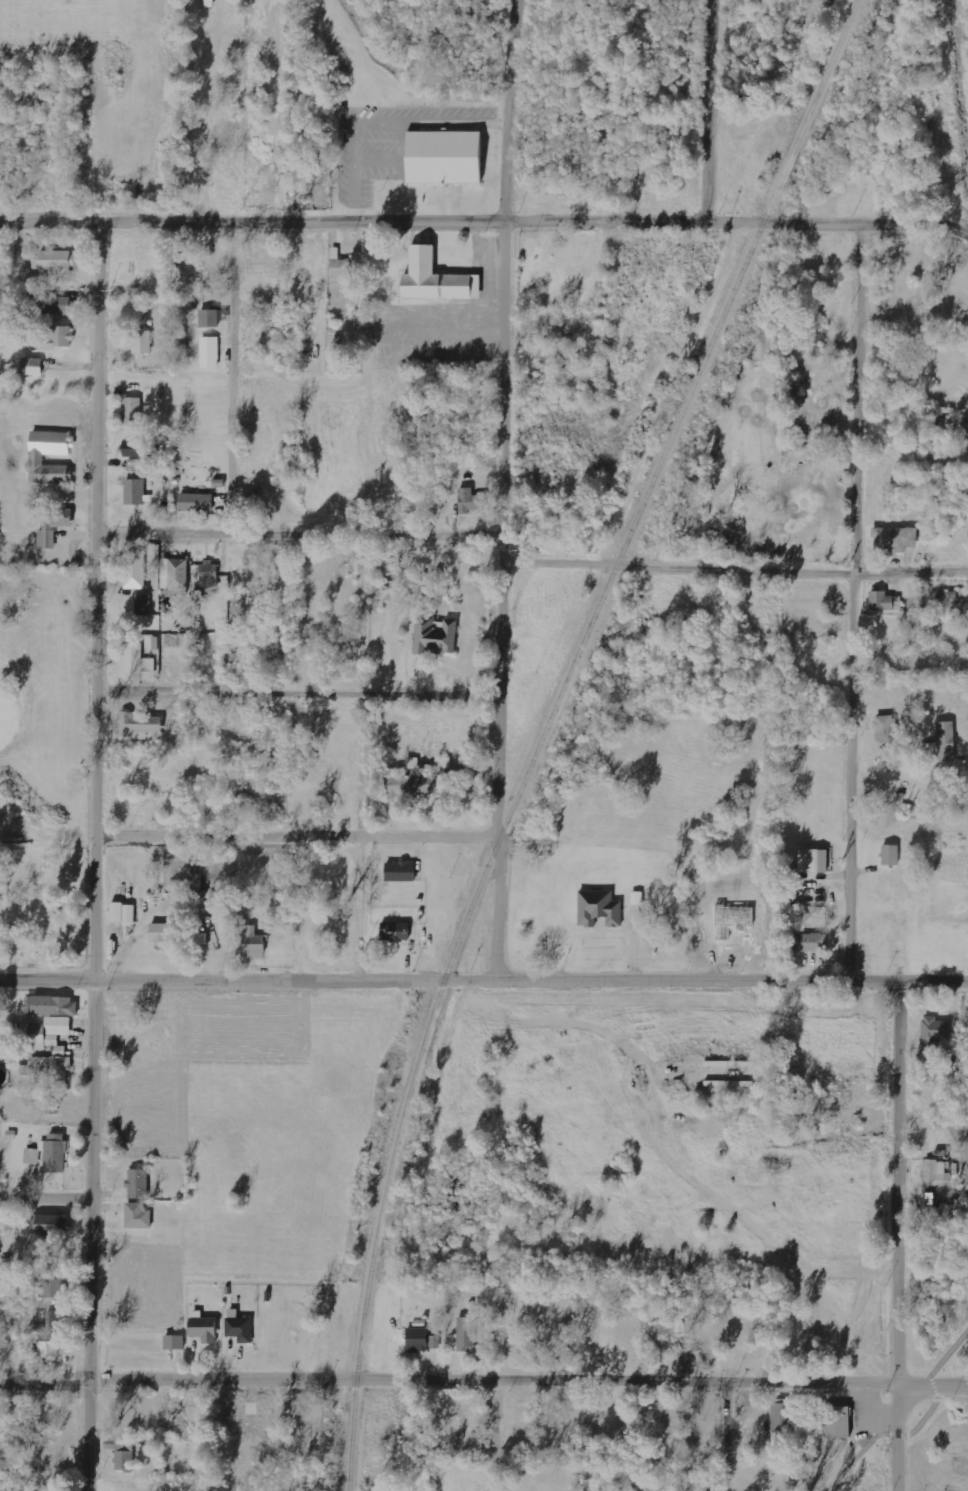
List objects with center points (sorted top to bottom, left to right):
road: (706, 111)
building: (442, 157)
road: (484, 215)
building: (257, 259)
building: (55, 262)
building: (206, 264)
building: (345, 264)
building: (435, 279)
building: (57, 304)
building: (209, 318)
building: (59, 338)
building: (142, 342)
building: (210, 352)
building: (131, 410)
building: (962, 428)
building: (138, 452)
building: (37, 460)
road: (504, 490)
building: (134, 492)
building: (469, 501)
building: (195, 502)
building: (52, 526)
road: (304, 530)
building: (894, 539)
building: (393, 563)
road: (734, 567)
building: (134, 569)
building: (209, 574)
building: (175, 576)
road: (239, 596)
road: (354, 599)
road: (862, 601)
building: (882, 601)
building: (950, 602)
building: (143, 604)
building: (435, 637)
building: (135, 661)
road: (301, 689)
building: (137, 725)
railway: (545, 729)
building: (885, 729)
building: (941, 745)
building: (412, 782)
road: (170, 833)
road: (364, 835)
building: (890, 854)
road: (106, 855)
building: (813, 860)
building: (399, 871)
building: (637, 898)
building: (598, 908)
building: (122, 912)
building: (393, 931)
building: (161, 932)
building: (195, 936)
building: (806, 942)
building: (253, 943)
road: (483, 982)
building: (55, 1005)
building: (934, 1030)
building: (47, 1032)
building: (44, 1071)
building: (54, 1153)
building: (935, 1171)
building: (137, 1183)
road: (49, 1194)
building: (137, 1216)
building: (50, 1224)
building: (5, 1228)
road: (899, 1234)
building: (51, 1287)
building: (57, 1319)
building: (238, 1326)
building: (202, 1329)
building: (466, 1334)
building: (421, 1340)
building: (174, 1342)
building: (48, 1346)
road: (484, 1380)
building: (782, 1421)
building: (835, 1422)
road: (918, 1426)
road: (496, 1436)
road: (734, 1437)
building: (124, 1456)
building: (696, 1482)

